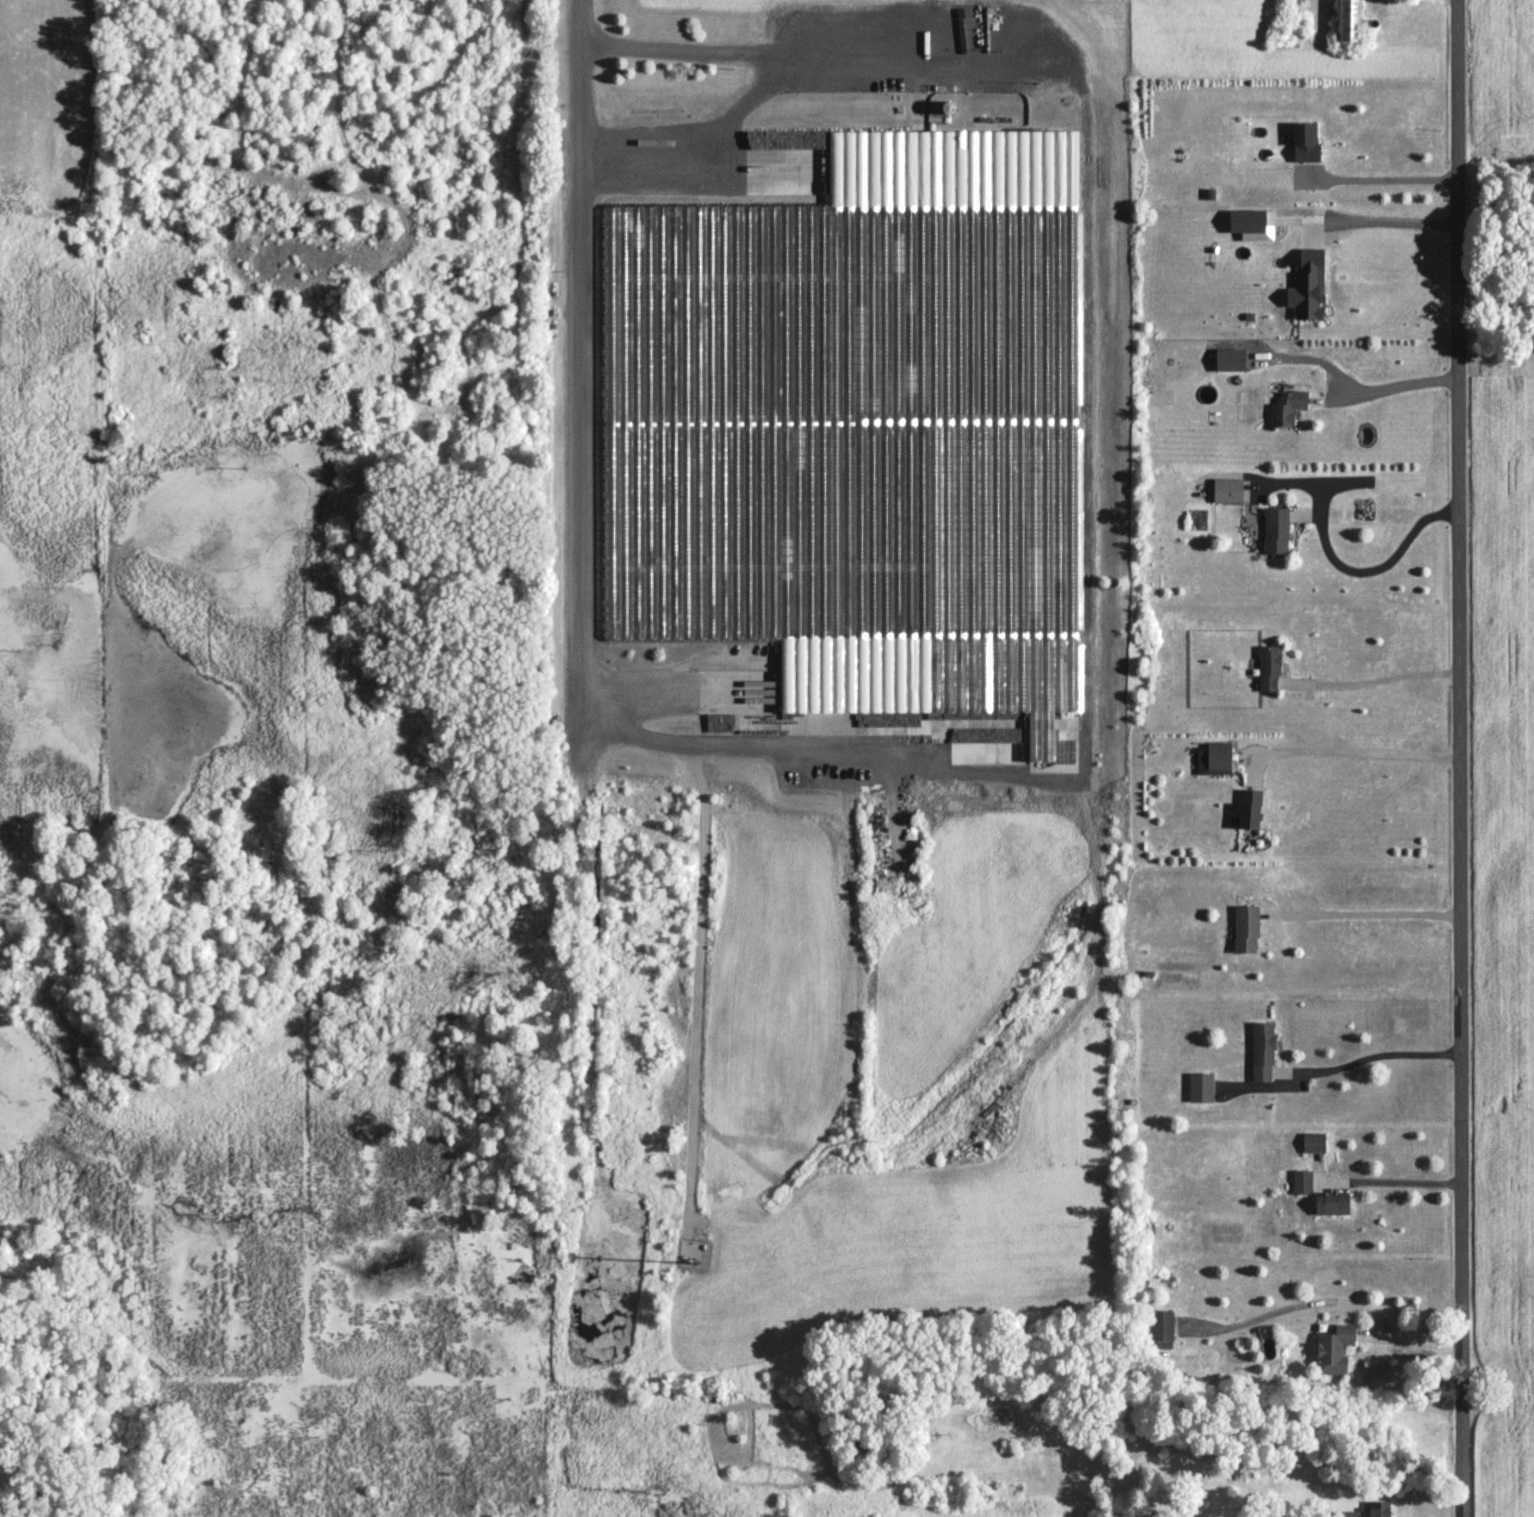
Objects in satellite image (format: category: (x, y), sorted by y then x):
building: (1348, 20)
road: (807, 55)
building: (1305, 141)
road: (705, 158)
road: (1379, 178)
building: (939, 192)
road: (1391, 220)
building: (1308, 285)
building: (1230, 359)
road: (576, 378)
road: (1398, 384)
building: (1287, 407)
building: (1227, 490)
building: (1275, 529)
road: (1378, 565)
road: (1088, 652)
building: (1268, 667)
road: (1377, 678)
road: (654, 684)
road: (1356, 750)
building: (967, 752)
building: (1213, 757)
road: (1456, 758)
building: (1249, 808)
road: (1361, 911)
building: (1245, 928)
building: (1262, 1051)
road: (1375, 1053)
building: (1201, 1086)
building: (1313, 1141)
building: (1302, 1181)
road: (1388, 1181)
building: (1331, 1202)
road: (1342, 1299)
building: (1160, 1328)
building: (1334, 1348)
building: (1378, 1508)

